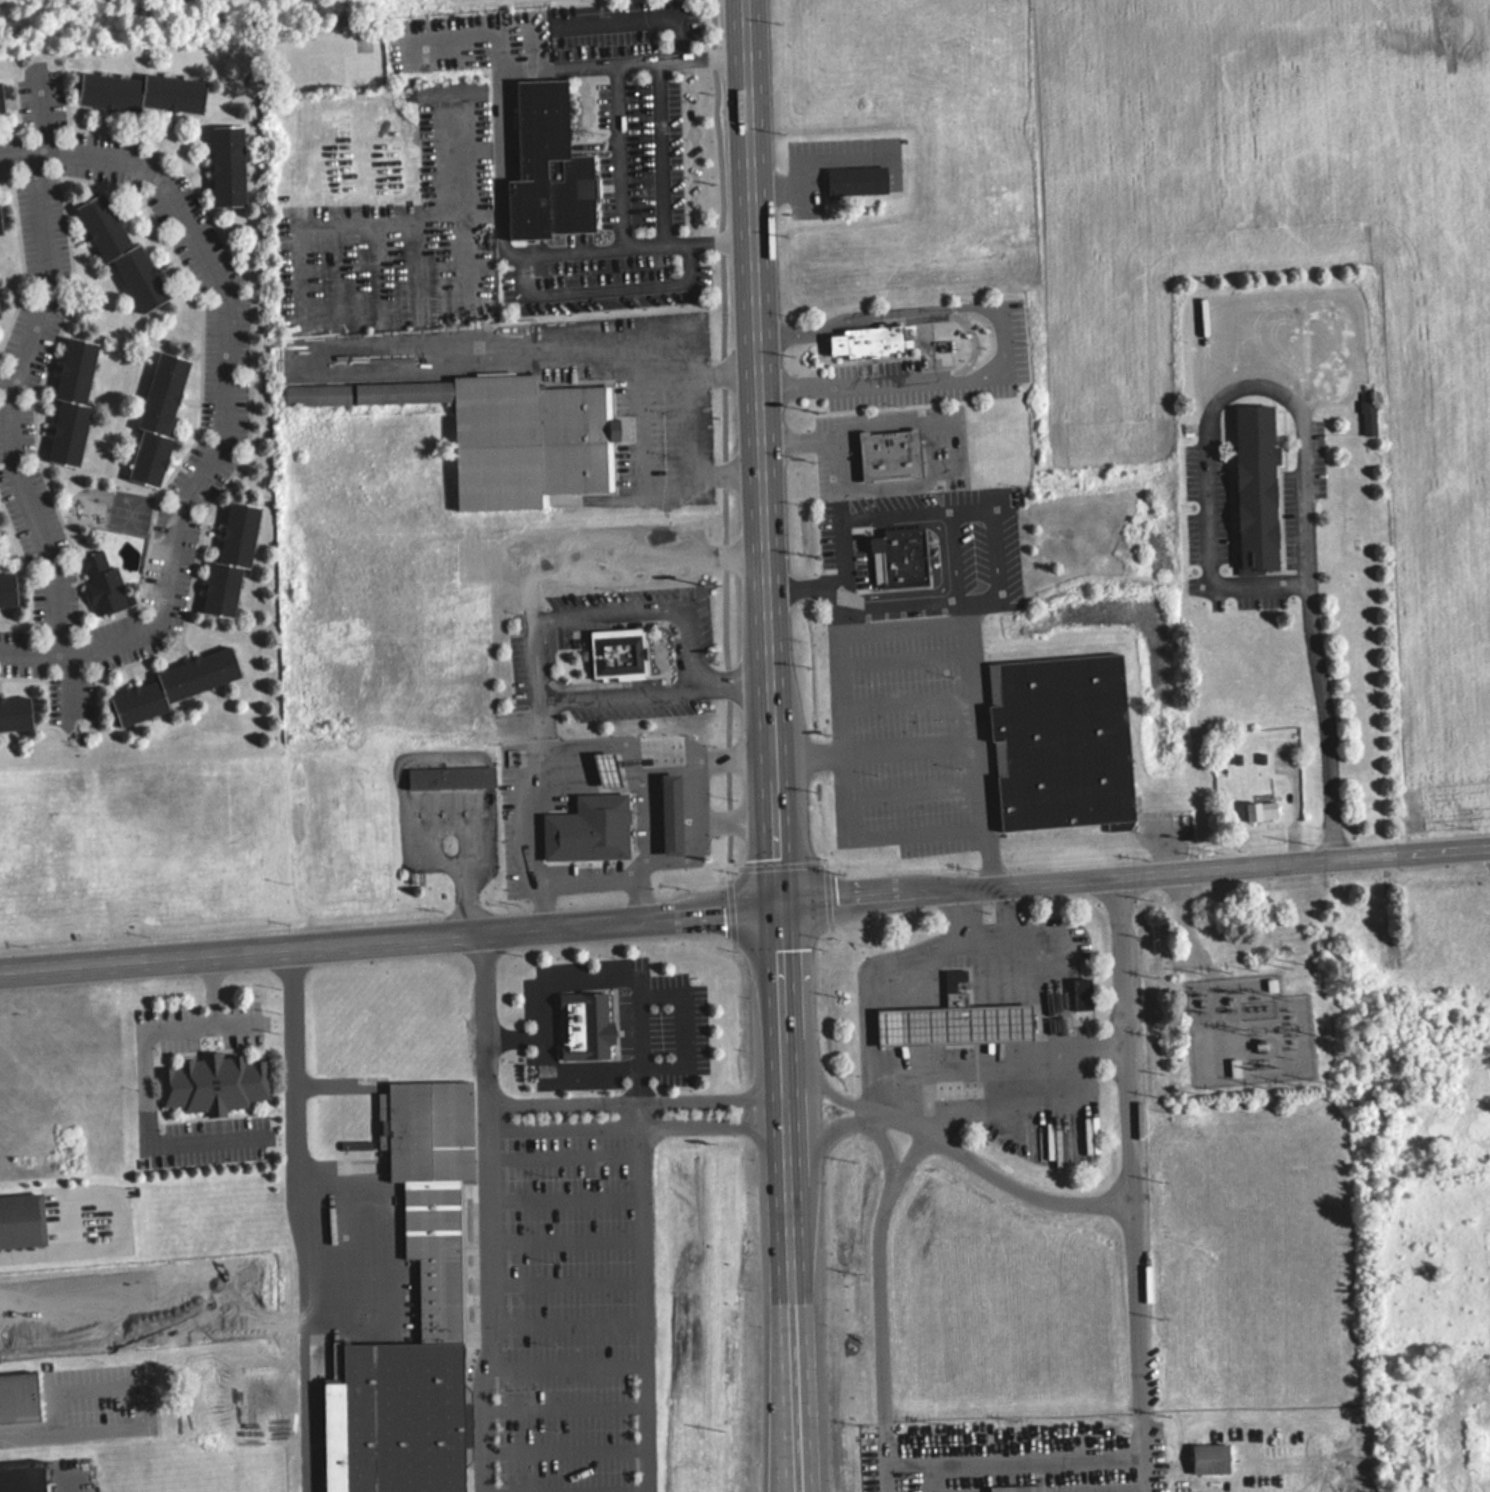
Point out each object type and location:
building: (144, 90)
building: (450, 91)
building: (1, 100)
road: (659, 152)
building: (228, 164)
building: (561, 174)
building: (860, 180)
building: (0, 224)
building: (122, 251)
road: (1011, 337)
building: (884, 342)
road: (5, 383)
road: (226, 395)
road: (12, 397)
building: (72, 399)
building: (1367, 416)
building: (157, 418)
road: (684, 424)
building: (508, 433)
road: (1303, 445)
road: (765, 452)
building: (900, 455)
road: (913, 484)
building: (1266, 488)
road: (920, 514)
building: (231, 558)
building: (911, 559)
building: (102, 582)
building: (8, 589)
road: (547, 652)
building: (627, 653)
road: (909, 657)
building: (175, 684)
road: (911, 701)
building: (15, 713)
building: (1070, 741)
road: (914, 751)
road: (812, 754)
building: (618, 770)
building: (459, 777)
road: (916, 791)
road: (533, 809)
building: (1261, 809)
building: (672, 812)
building: (591, 828)
road: (984, 830)
road: (995, 860)
road: (1134, 879)
road: (640, 897)
road: (542, 904)
traffic signals: (779, 905)
road: (1017, 909)
road: (973, 913)
road: (1044, 927)
road: (1180, 932)
road: (389, 940)
building: (1089, 991)
building: (956, 1002)
road: (1218, 1021)
building: (955, 1022)
building: (593, 1024)
road: (645, 1030)
power substation: (1246, 1030)
road: (523, 1035)
road: (692, 1067)
road: (145, 1072)
building: (221, 1083)
road: (642, 1101)
road: (857, 1121)
road: (643, 1127)
building: (439, 1130)
road: (953, 1145)
road: (572, 1154)
road: (1137, 1186)
road: (573, 1193)
road: (789, 1198)
road: (499, 1213)
road: (299, 1220)
building: (22, 1221)
road: (574, 1240)
road: (390, 1250)
building: (447, 1257)
road: (575, 1279)
road: (649, 1280)
road: (884, 1304)
road: (576, 1323)
road: (571, 1363)
road: (143, 1384)
building: (22, 1398)
road: (569, 1408)
building: (407, 1419)
road: (26, 1432)
road: (570, 1450)
building: (1214, 1454)
road: (1018, 1455)
road: (936, 1474)
building: (22, 1476)
road: (65, 1482)
building: (1023, 1488)
road: (571, 1489)

